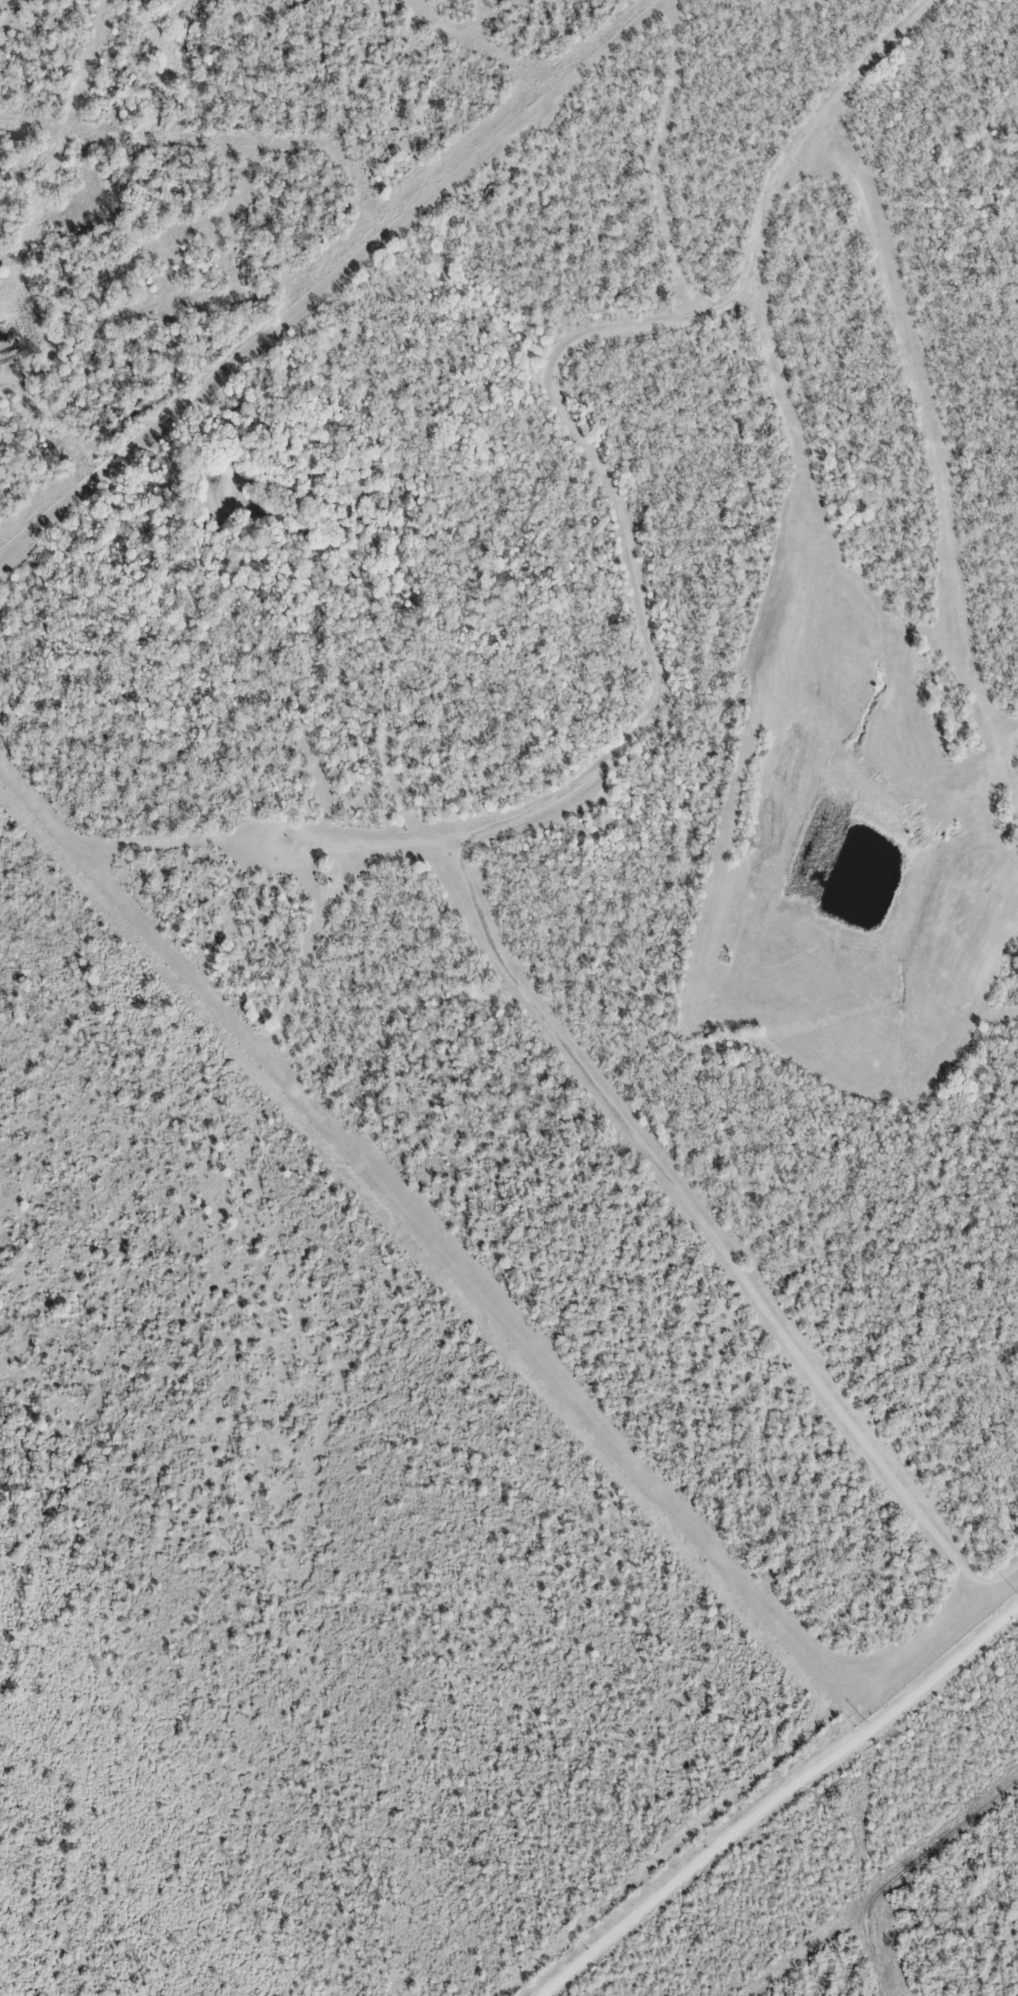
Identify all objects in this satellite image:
road: (780, 1794)

